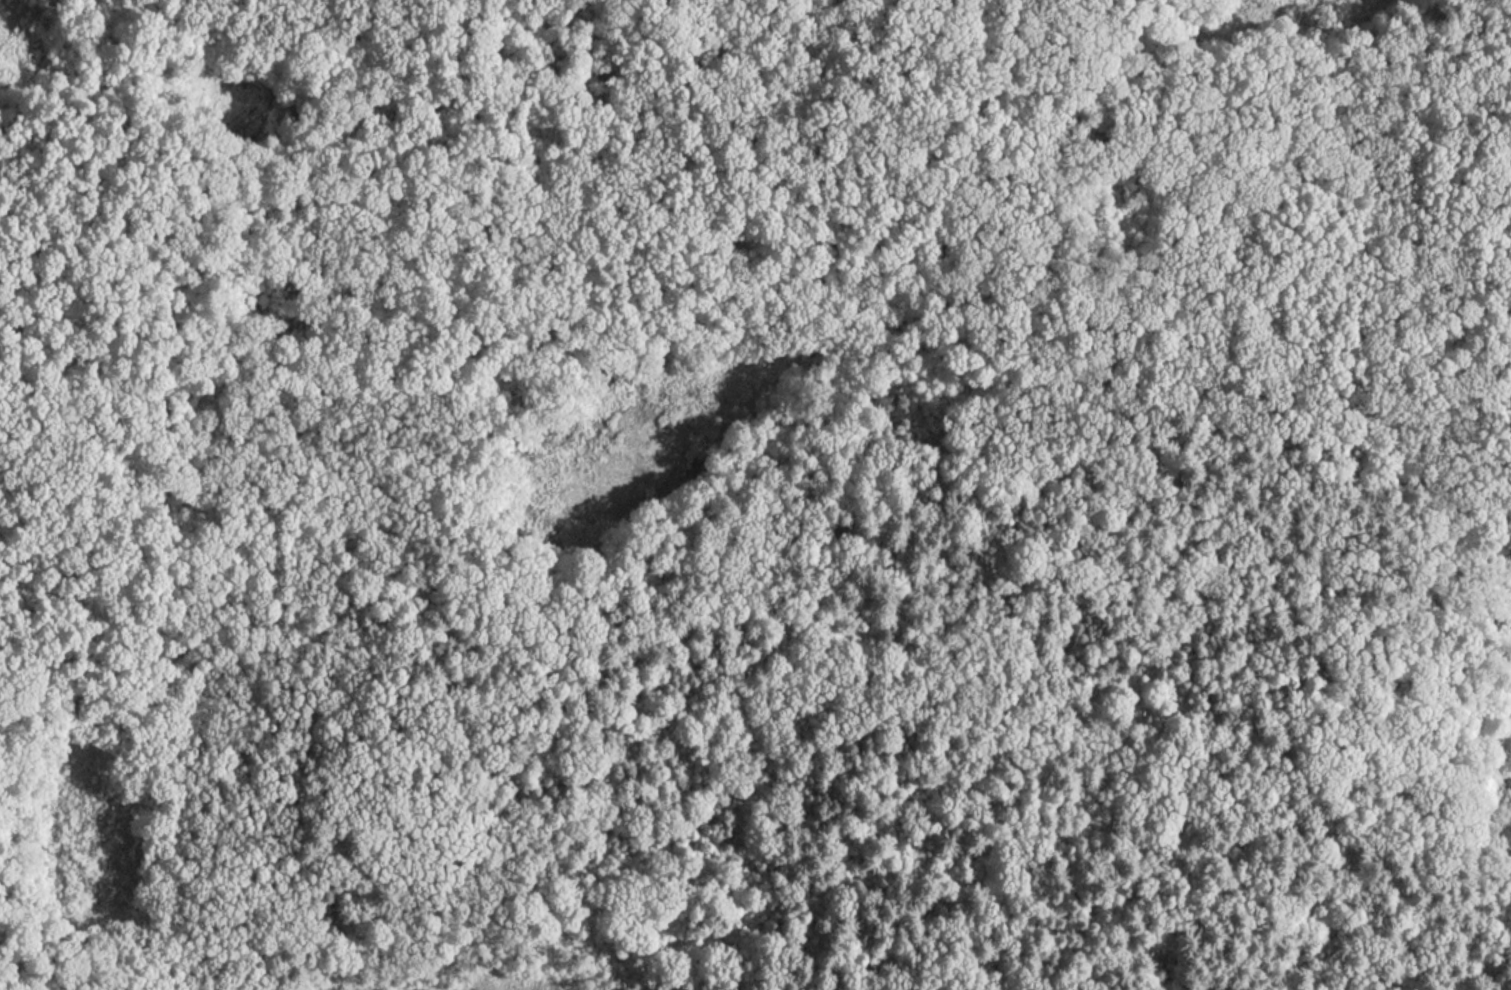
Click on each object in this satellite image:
road: (402, 61)
road: (1034, 79)
road: (99, 102)
road: (1001, 185)
road: (230, 239)
park: (755, 495)
road: (83, 586)
road: (299, 586)

